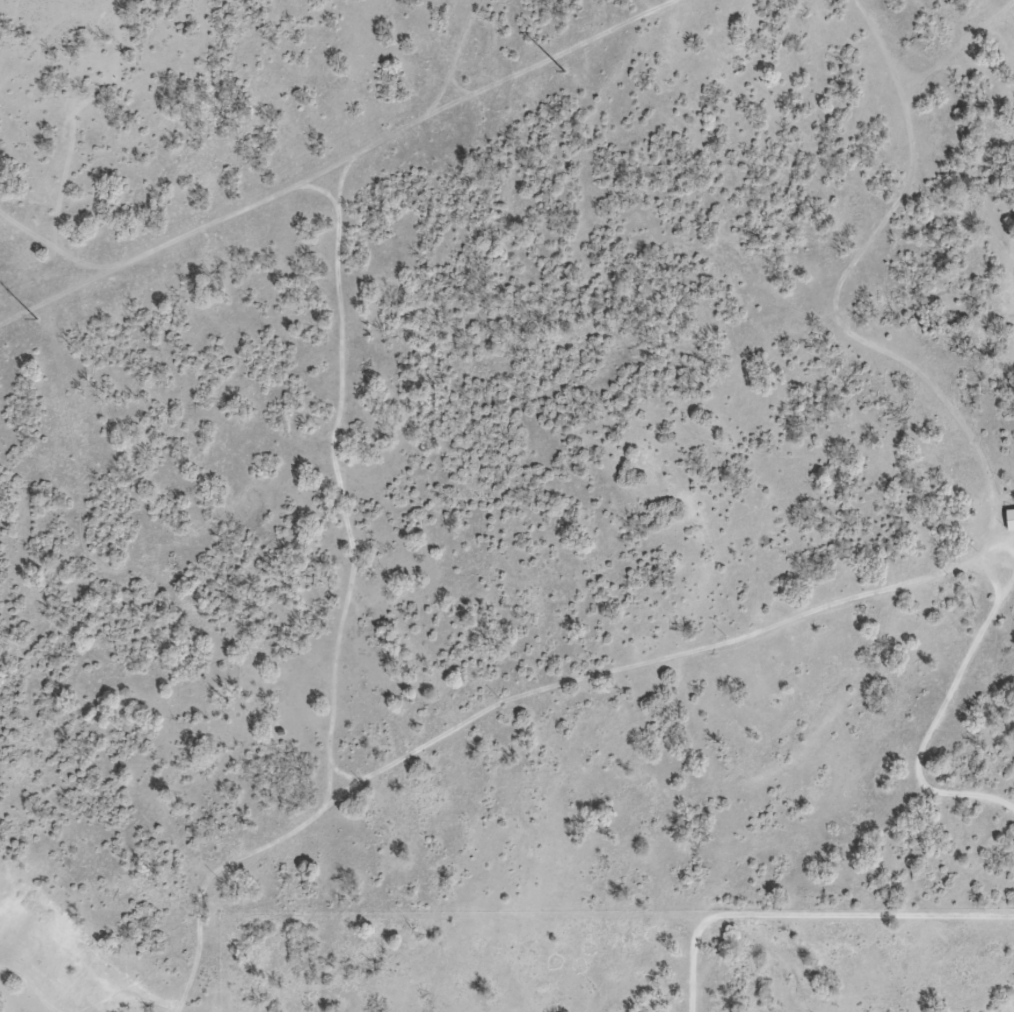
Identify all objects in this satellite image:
power tower: (564, 71)
power tower: (38, 320)
building: (1010, 519)
road: (812, 917)

